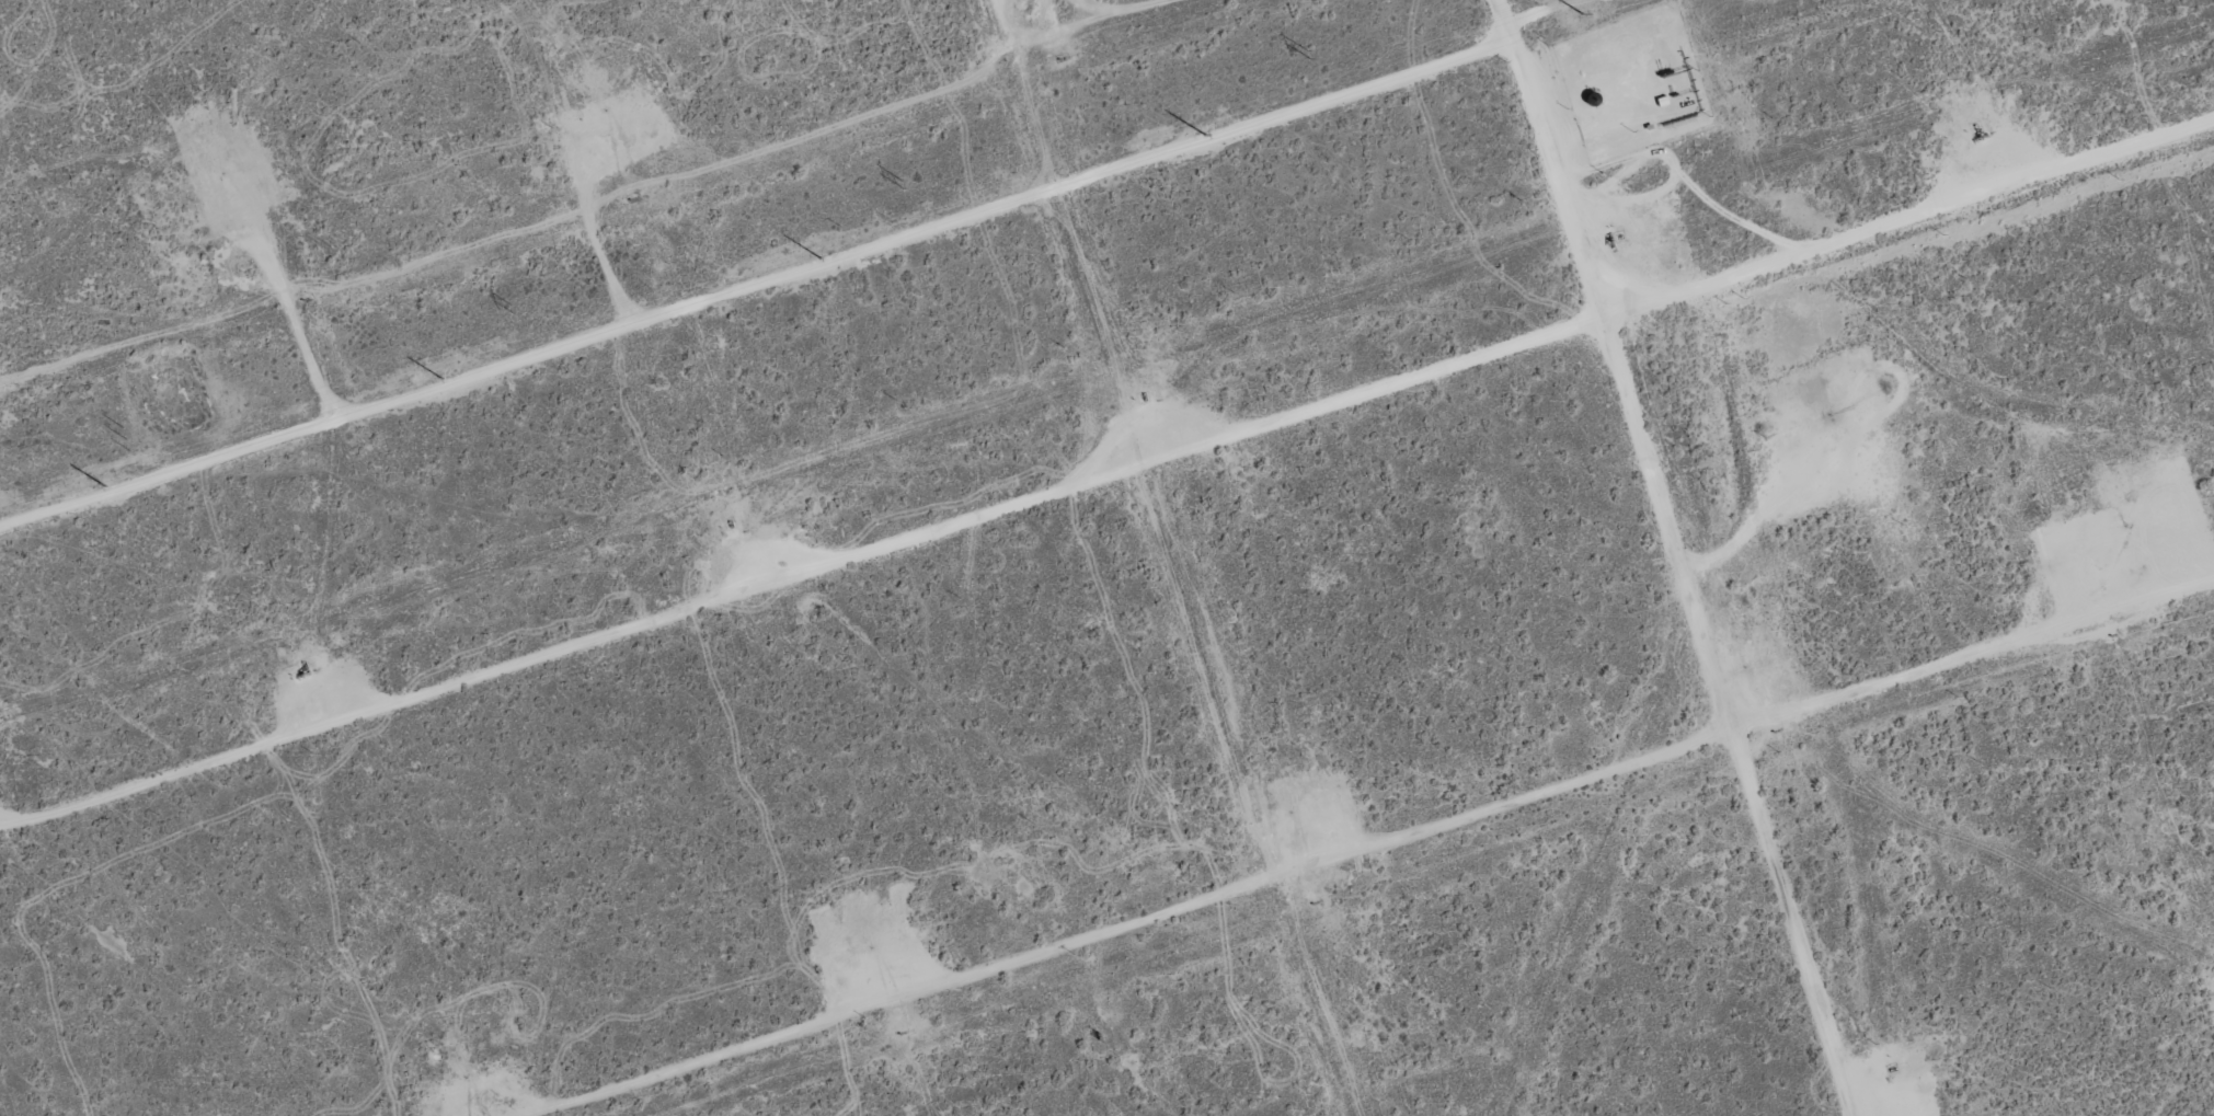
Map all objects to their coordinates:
road: (1155, 22)
power tower: (1308, 54)
power tower: (902, 184)
road: (756, 292)
power tower: (513, 309)
power tower: (124, 439)
road: (1108, 487)
road: (1680, 555)
road: (1381, 848)

